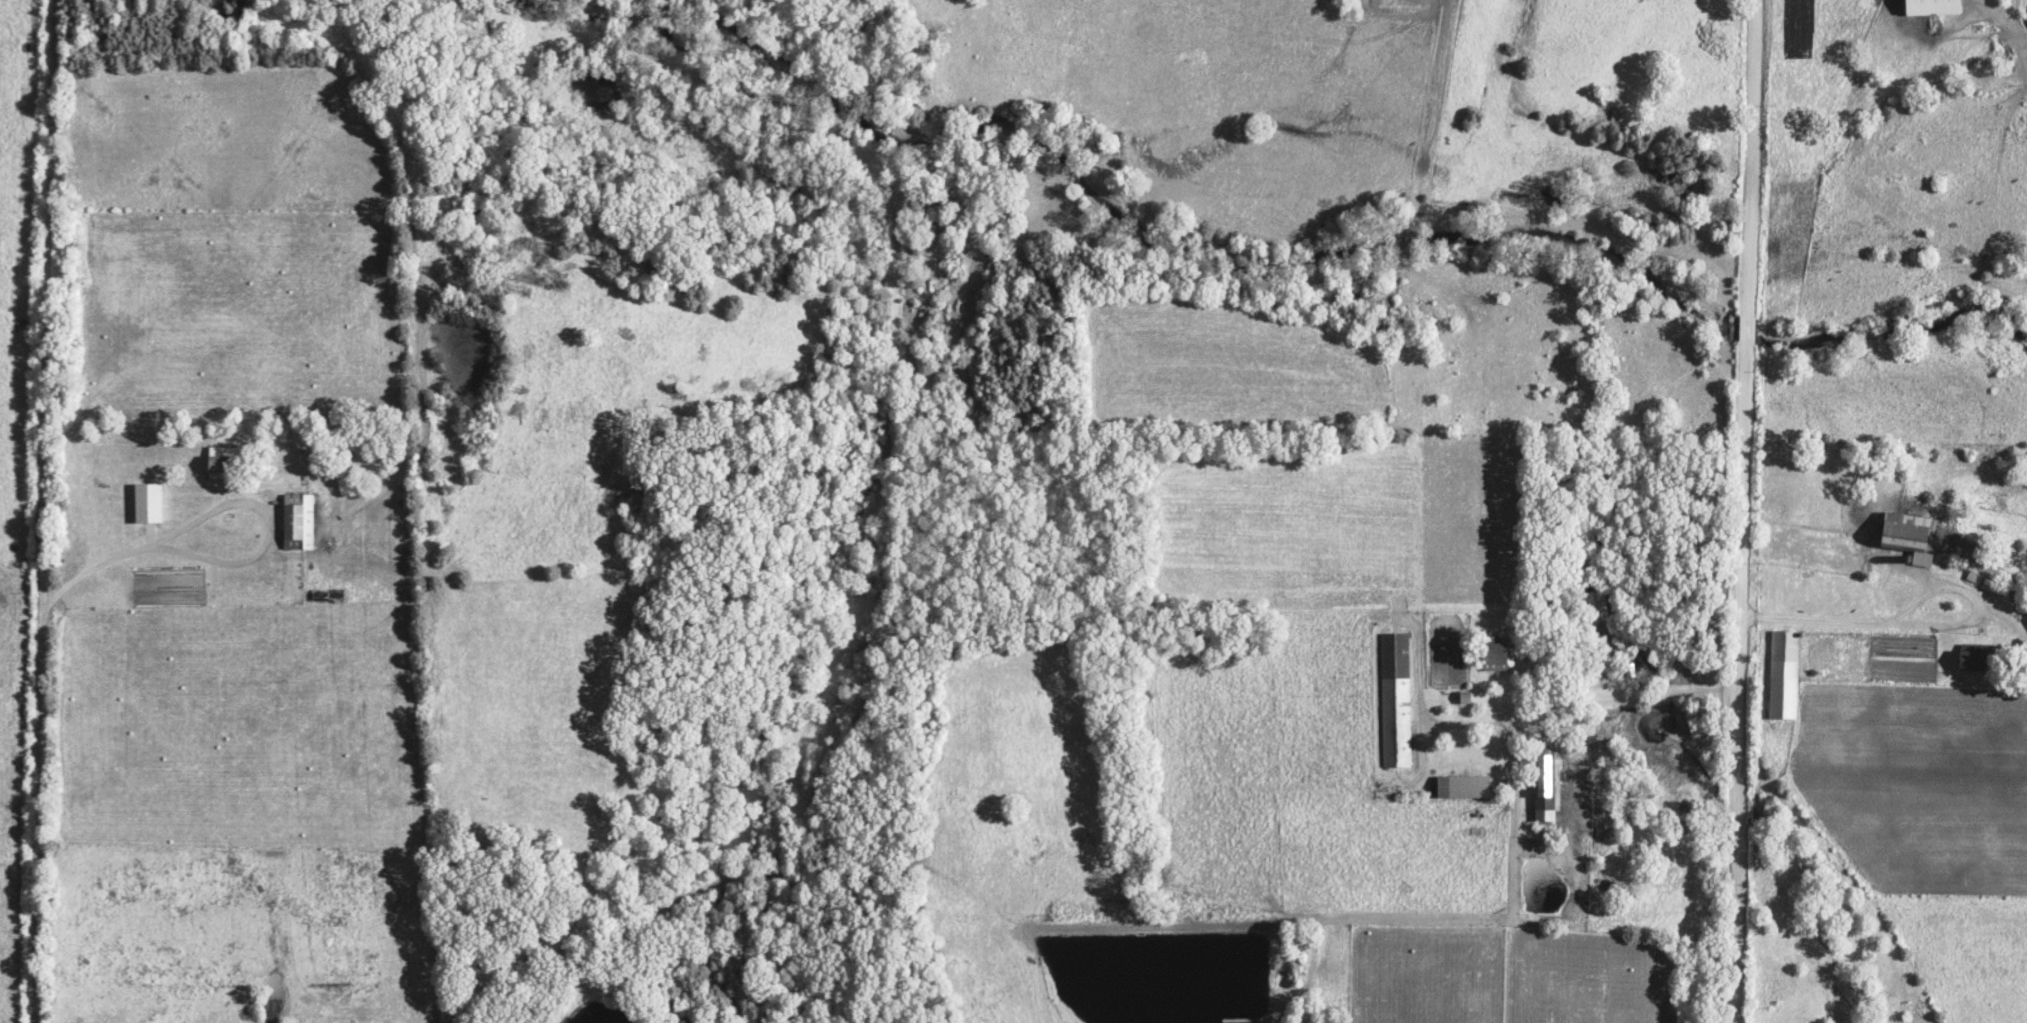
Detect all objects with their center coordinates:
building: (213, 461)
building: (146, 504)
road: (220, 509)
road: (38, 511)
road: (1737, 511)
building: (295, 523)
building: (1904, 537)
road: (1906, 605)
road: (1997, 620)
building: (2026, 621)
building: (1493, 657)
building: (1967, 661)
building: (1782, 676)
road: (1508, 689)
road: (1662, 695)
building: (1463, 699)
building: (1395, 701)
building: (1460, 788)
building: (1542, 789)

